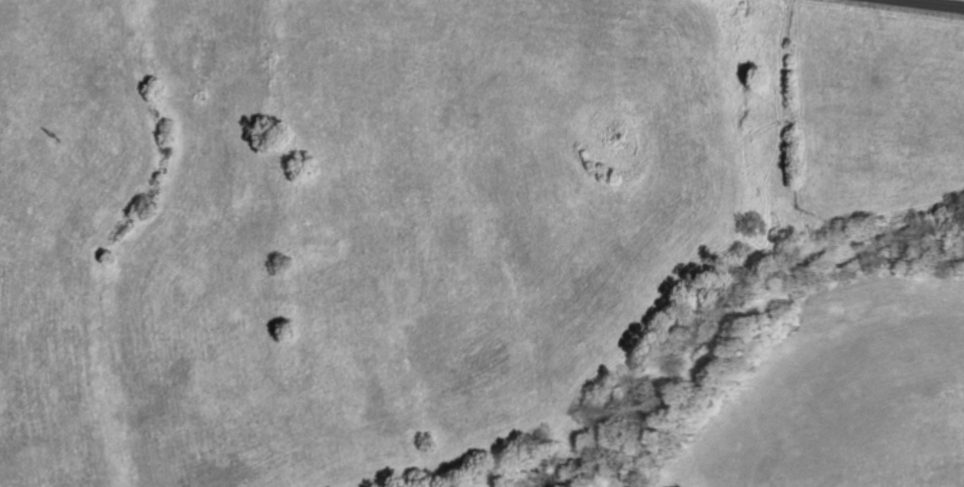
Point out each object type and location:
road: (915, 1)
road: (929, 3)

